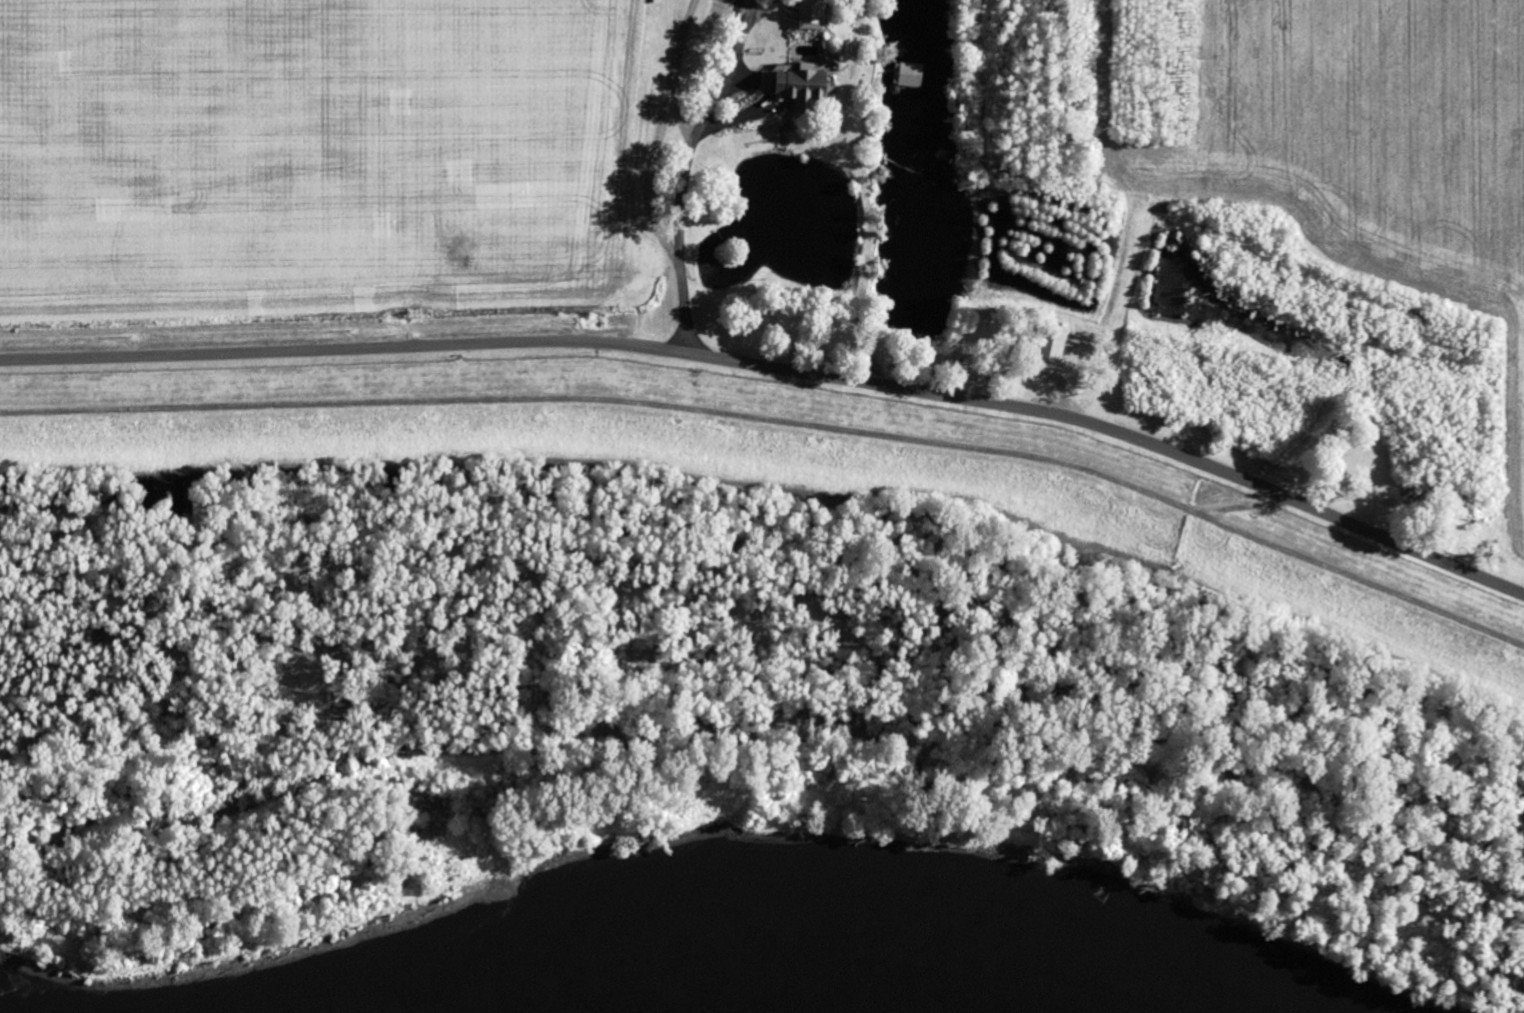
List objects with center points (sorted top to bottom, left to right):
building: (817, 15)
building: (913, 73)
building: (808, 80)
road: (685, 168)
road: (468, 342)
road: (780, 418)
road: (1232, 476)

